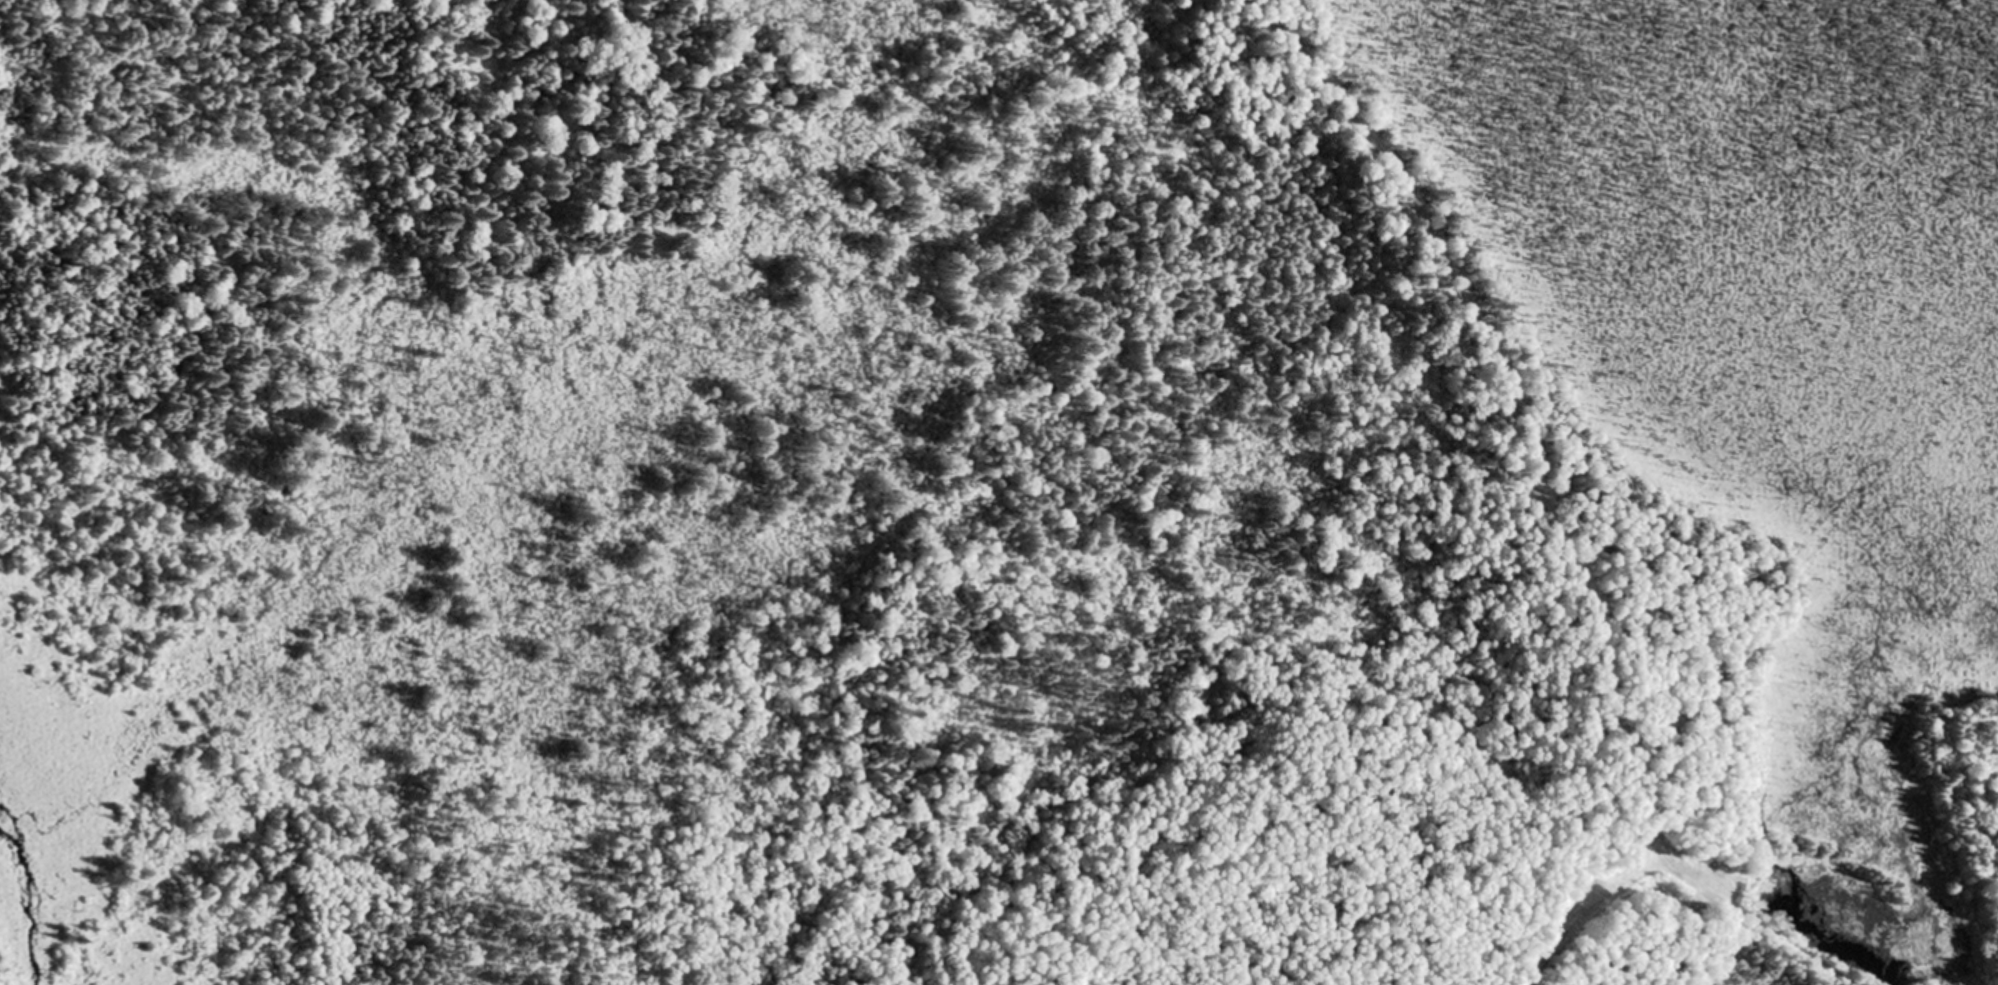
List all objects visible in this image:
road: (1527, 528)

